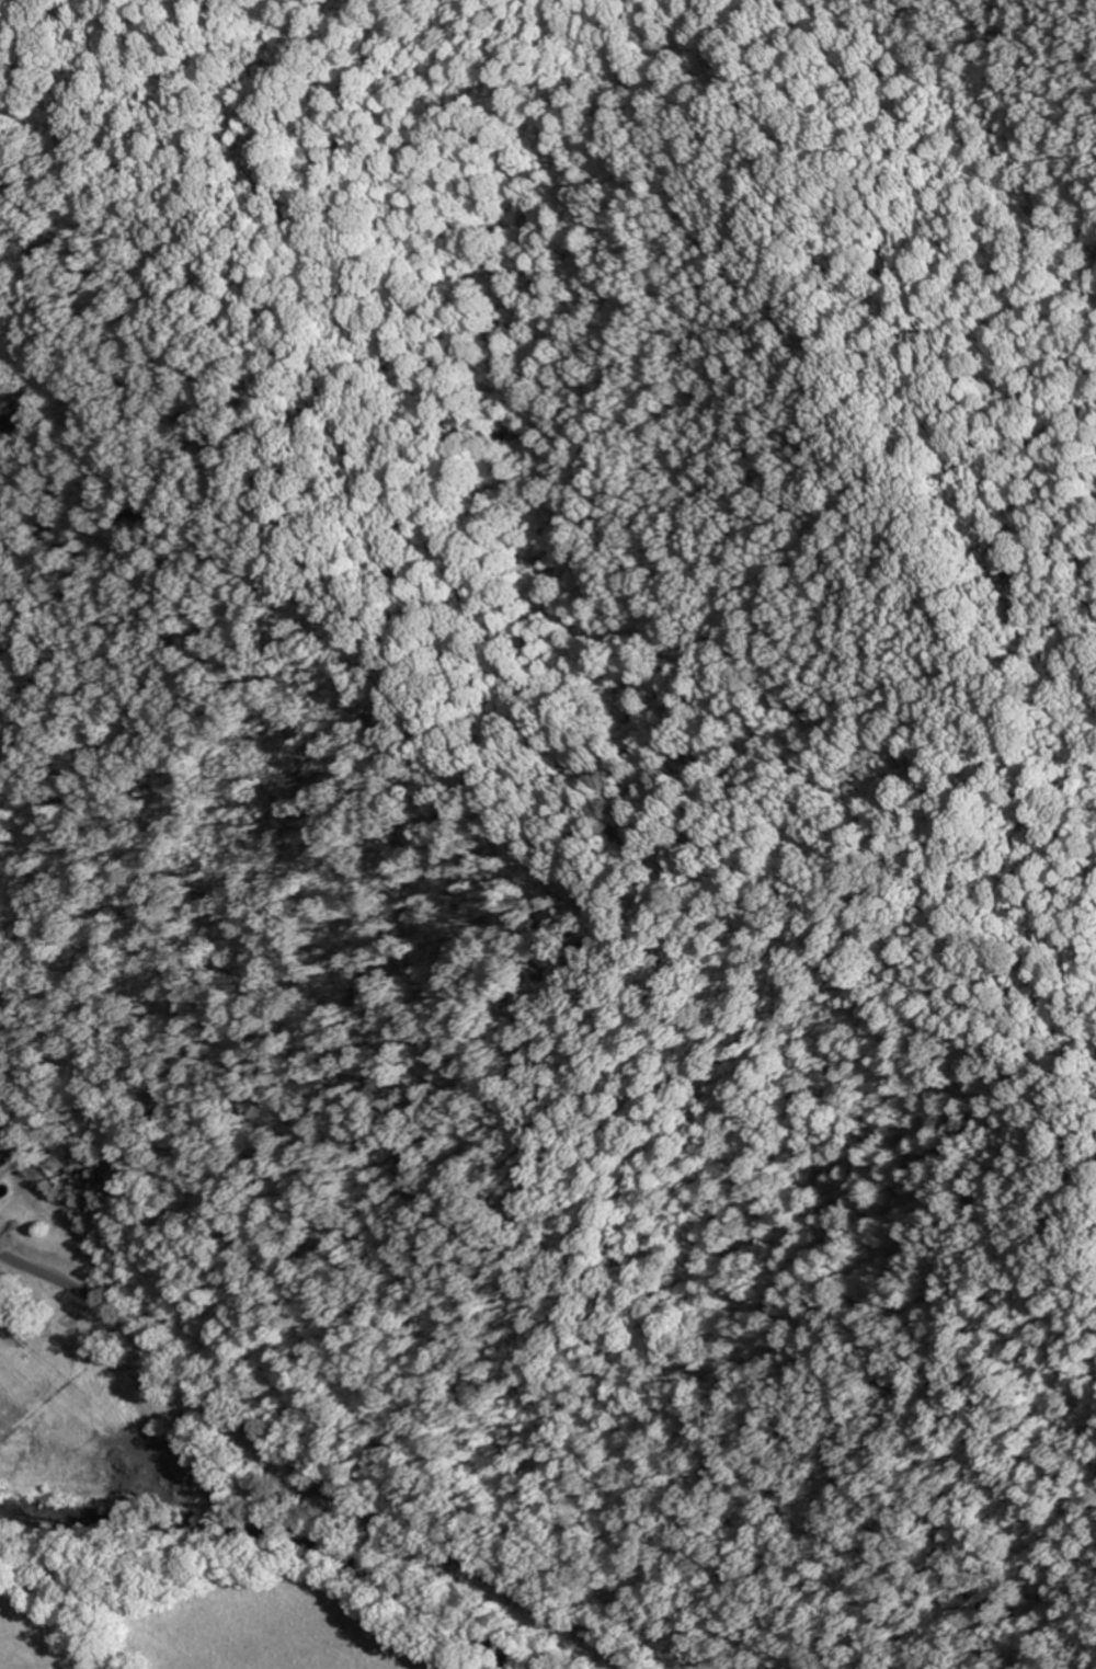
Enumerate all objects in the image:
building: (0, 1174)
road: (308, 1470)

